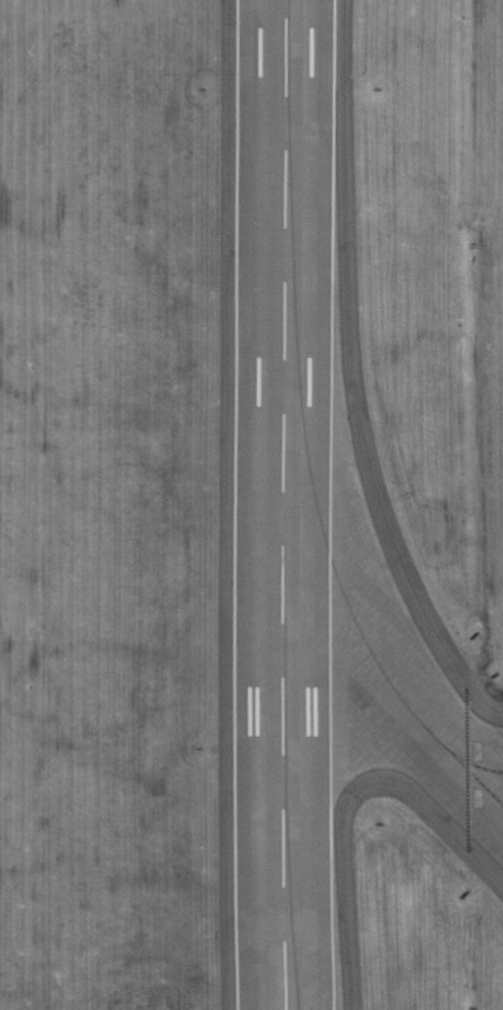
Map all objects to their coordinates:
airport: (251, 505)
airport runway: (293, 505)
airport taxiway: (402, 692)

